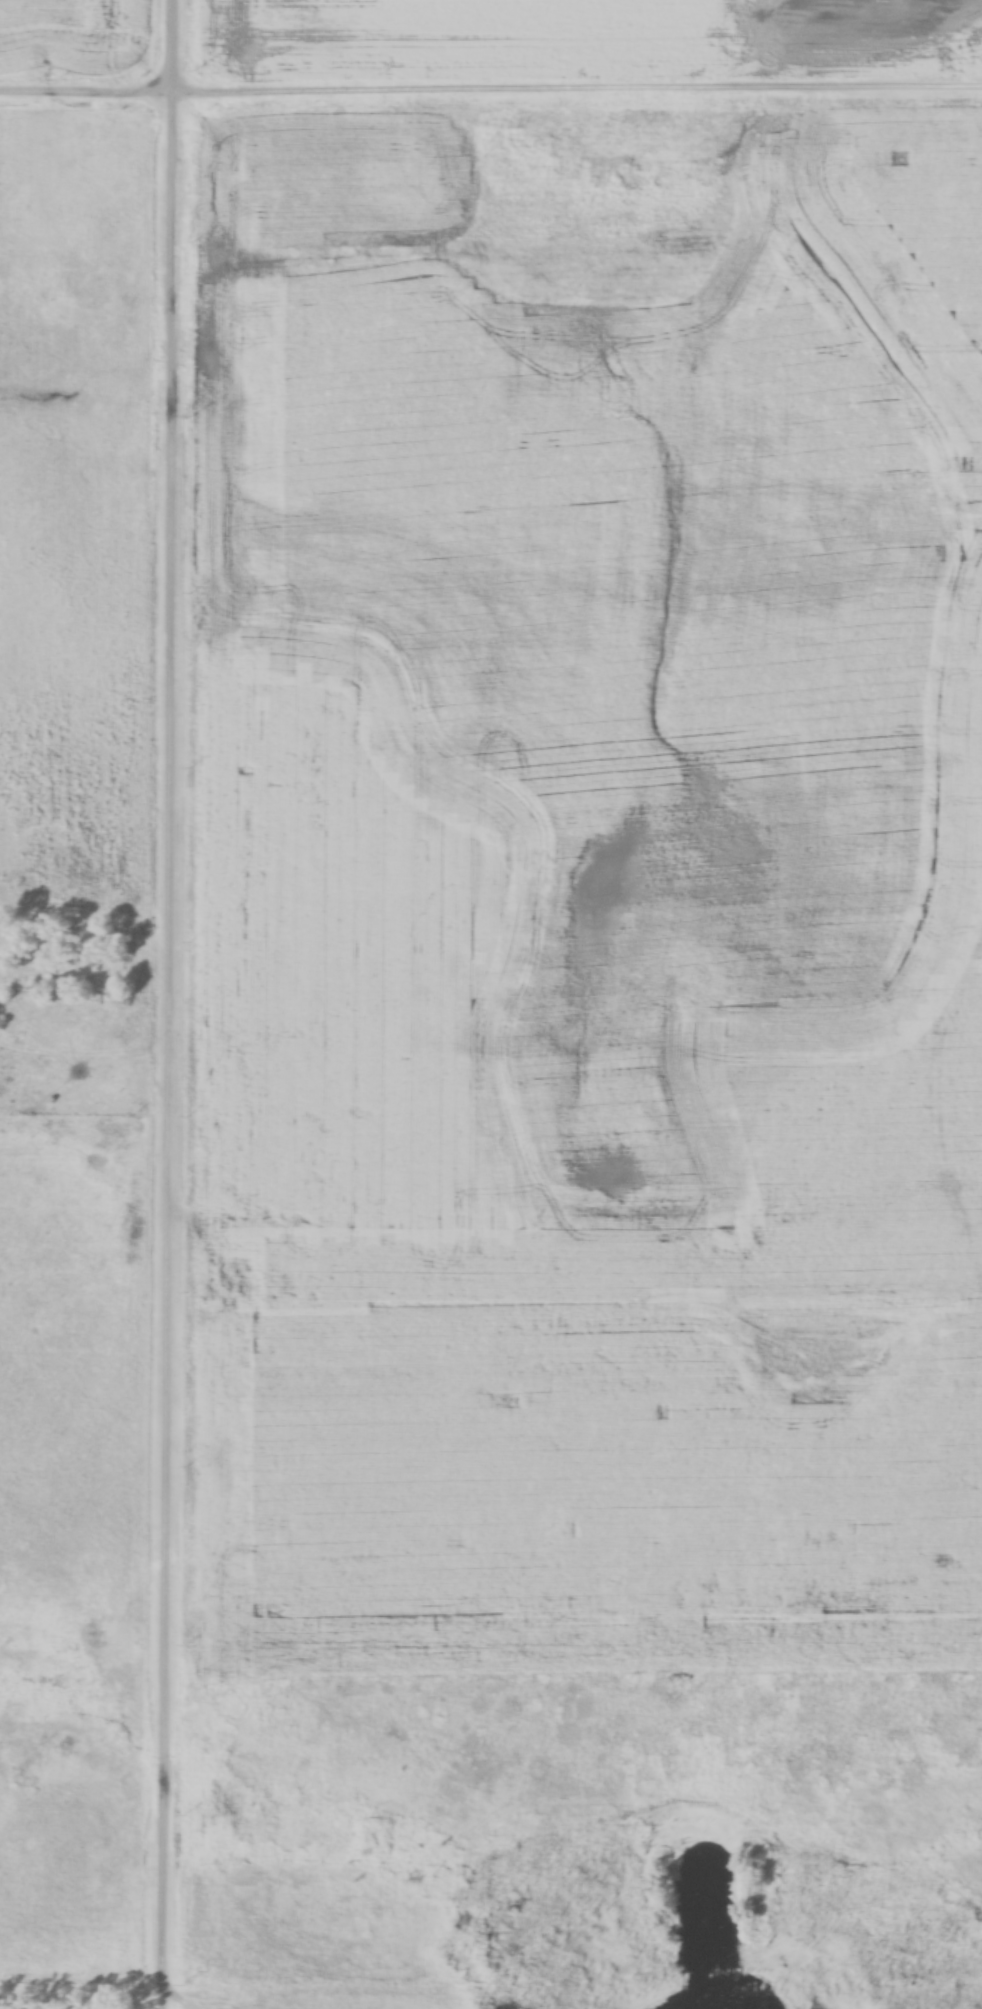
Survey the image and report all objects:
road: (89, 91)
road: (580, 91)
road: (177, 1004)

